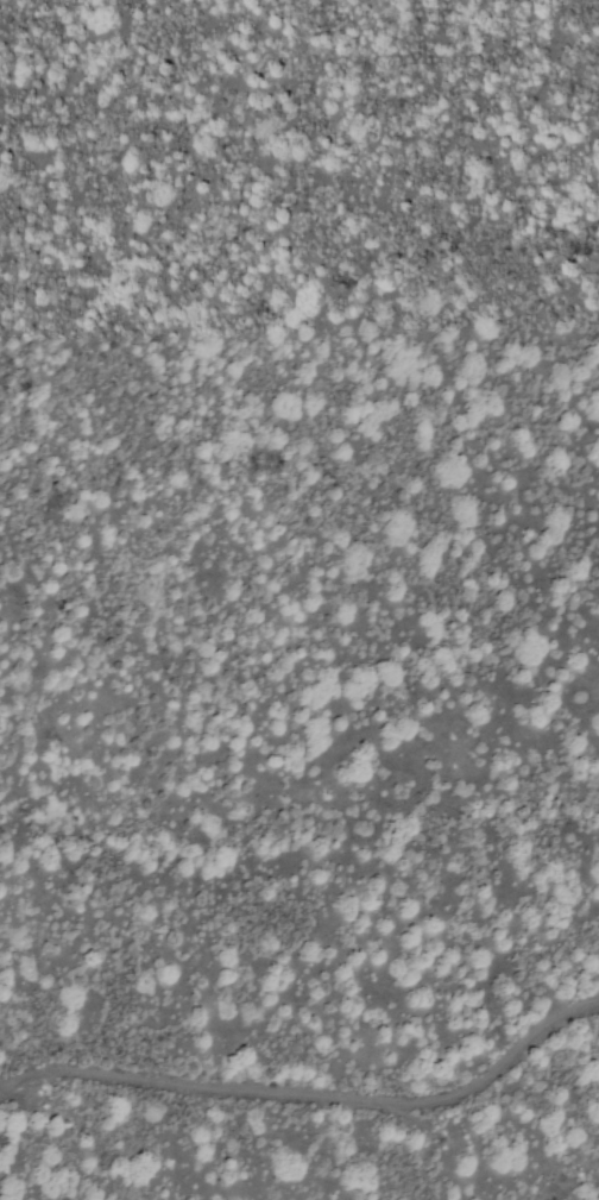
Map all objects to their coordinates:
road: (311, 1097)

